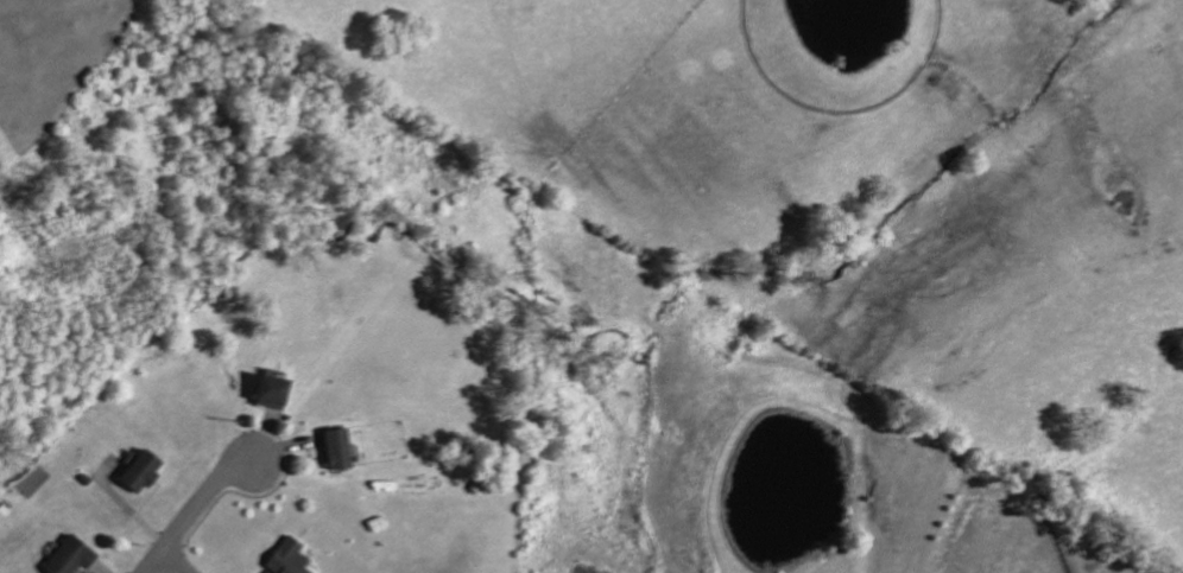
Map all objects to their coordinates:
building: (268, 390)
building: (334, 447)
building: (138, 471)
road: (195, 505)
building: (67, 556)
building: (286, 558)
road: (172, 562)

